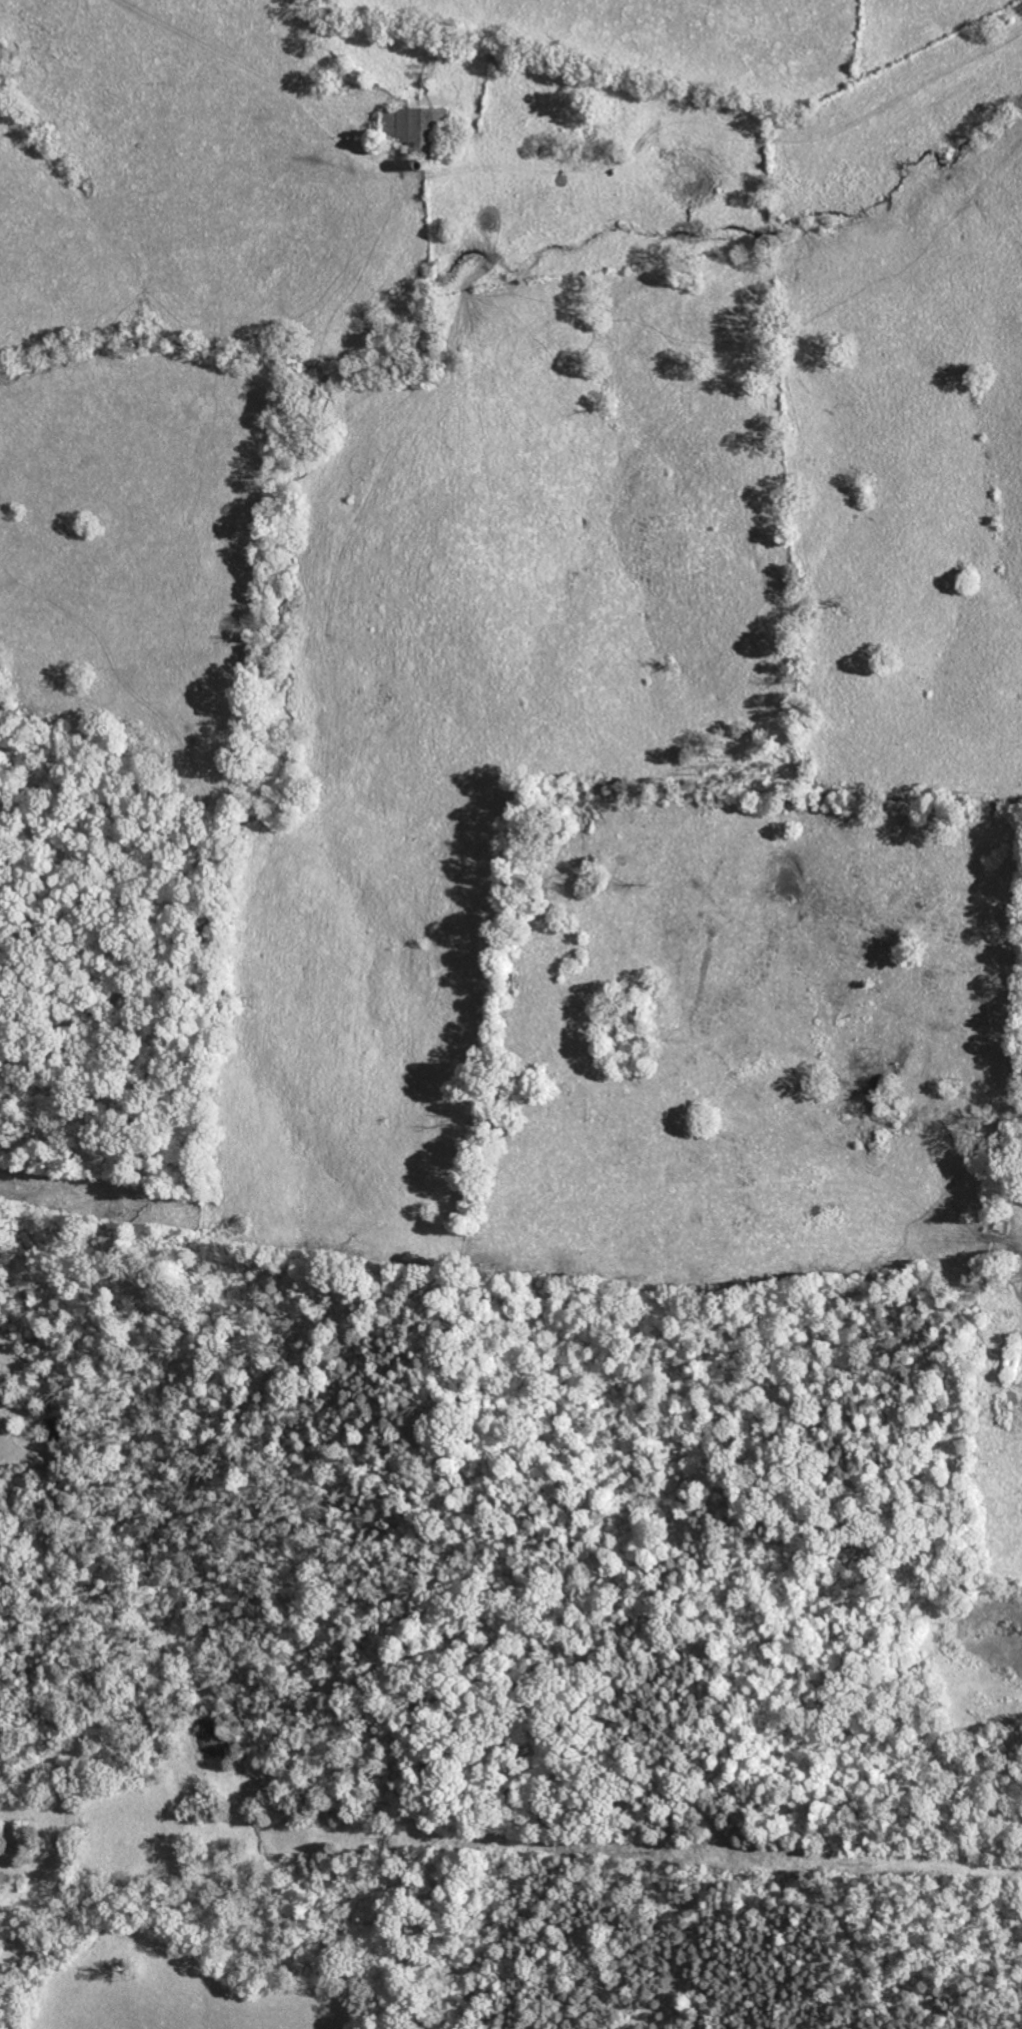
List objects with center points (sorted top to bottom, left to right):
road: (217, 51)
building: (414, 124)

